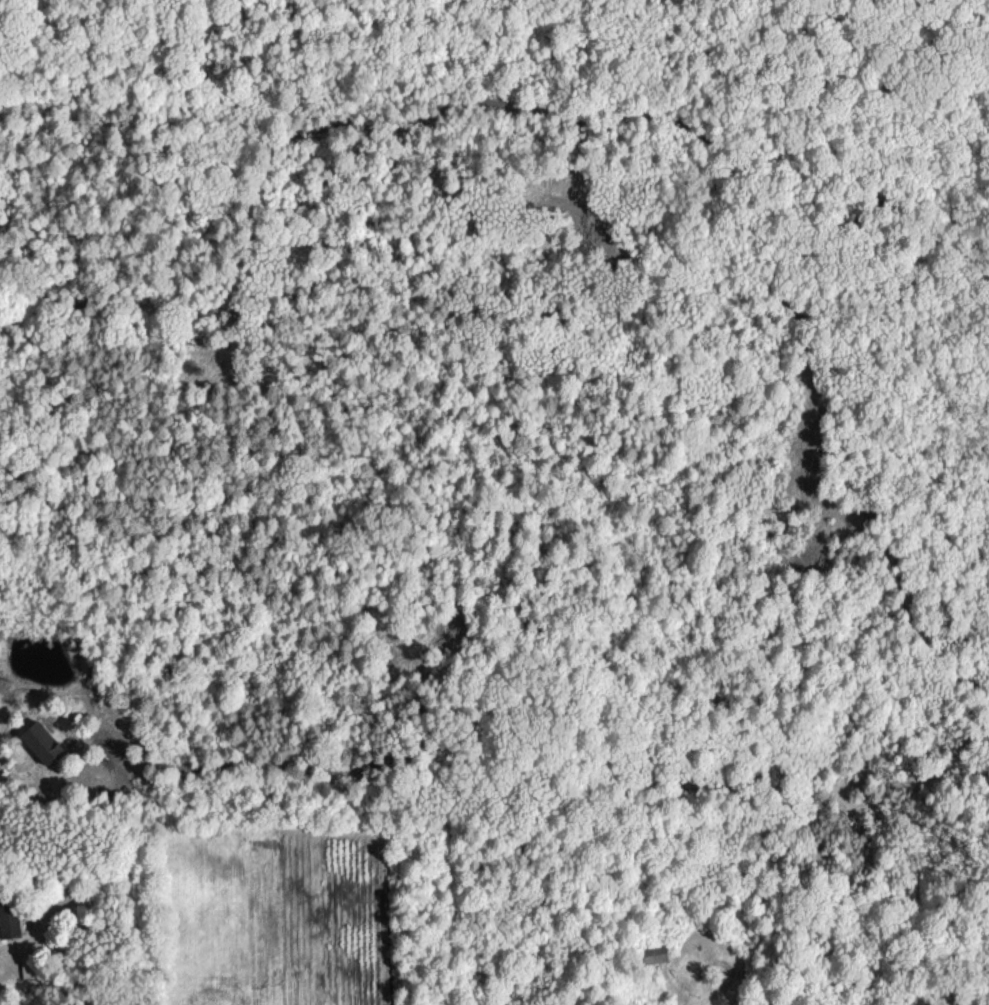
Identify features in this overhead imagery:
building: (39, 743)
building: (9, 920)
road: (10, 946)

